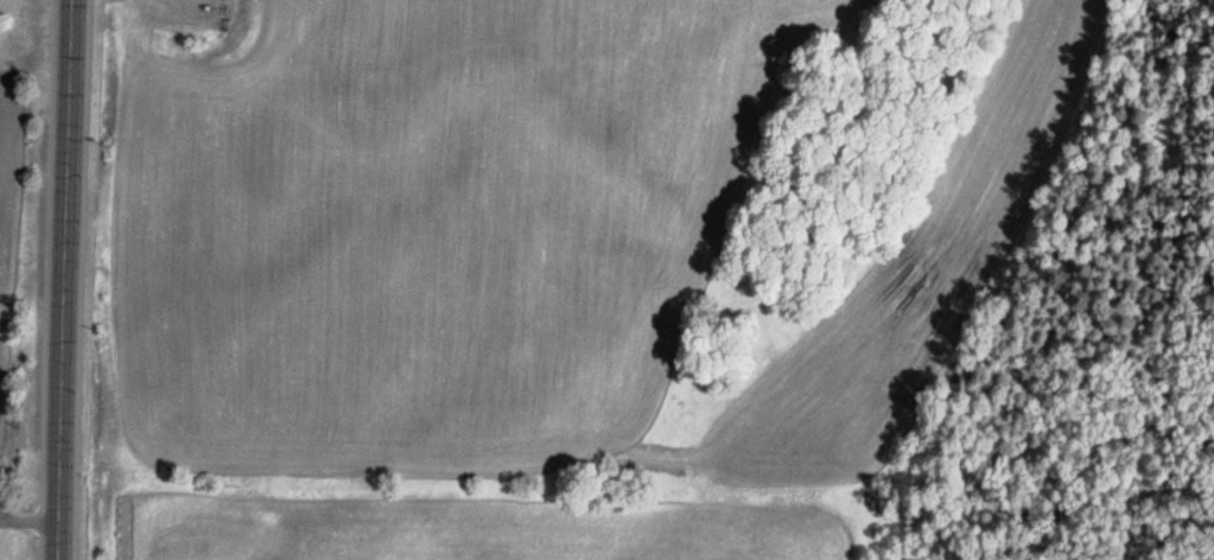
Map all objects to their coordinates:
road: (59, 280)

